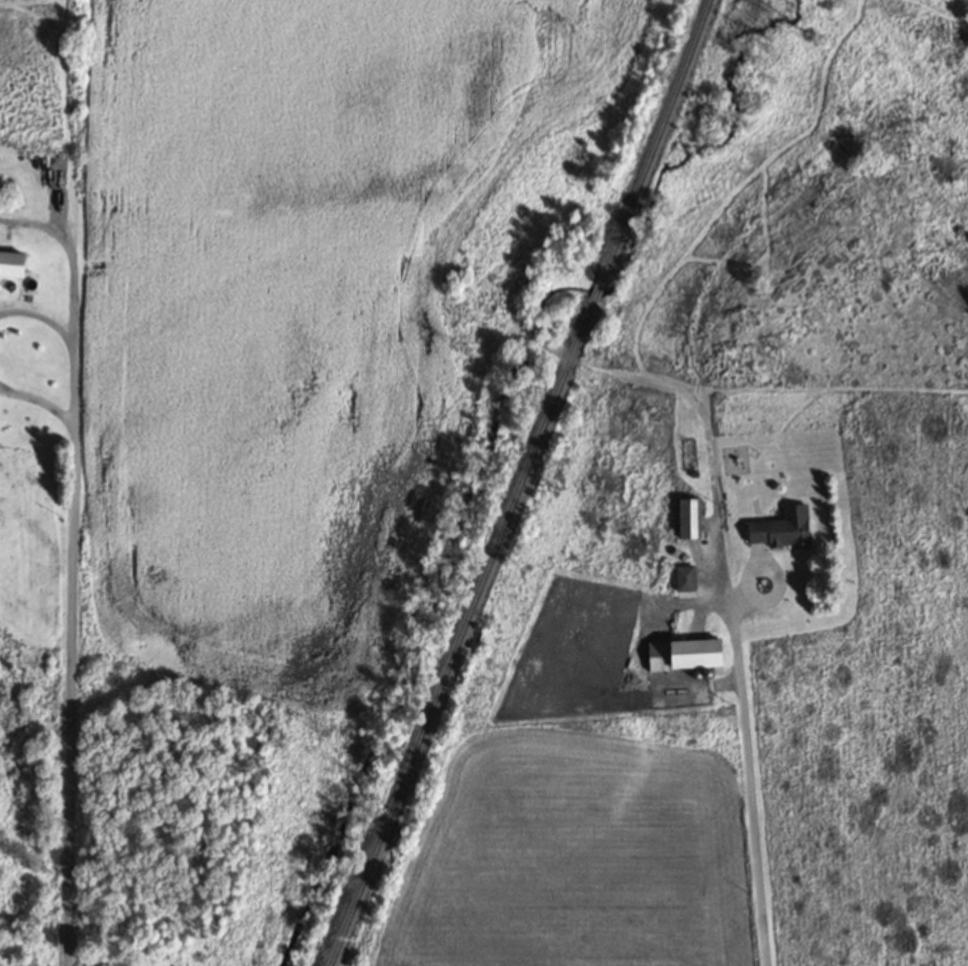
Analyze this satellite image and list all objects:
railway: (661, 140)
building: (9, 262)
railway: (603, 287)
road: (69, 340)
road: (38, 400)
building: (687, 517)
building: (778, 527)
building: (682, 578)
railway: (466, 630)
building: (681, 653)
road: (68, 693)
road: (754, 785)

